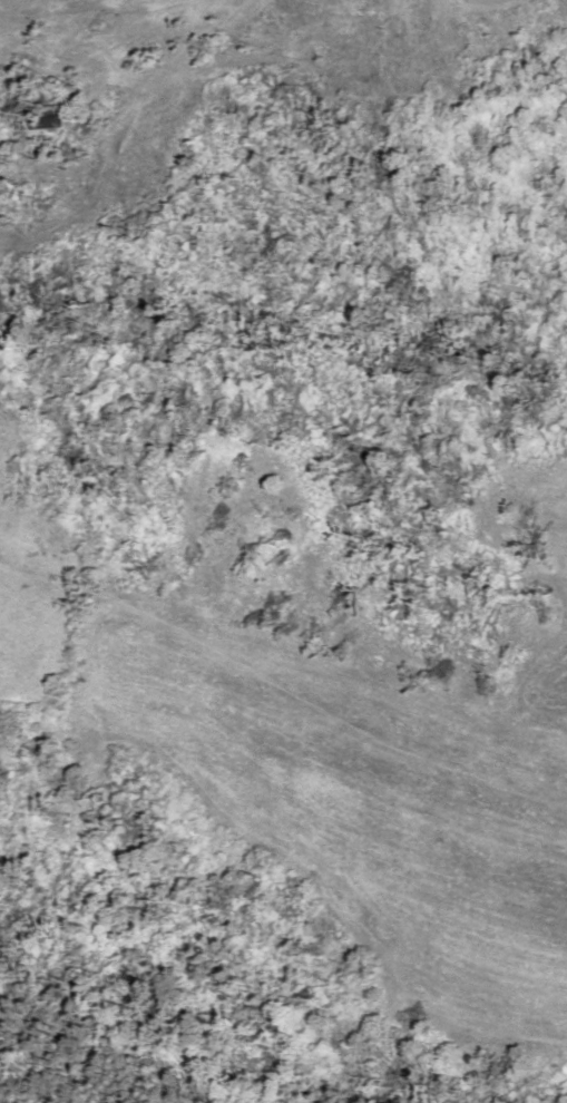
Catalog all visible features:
building: (40, 119)

